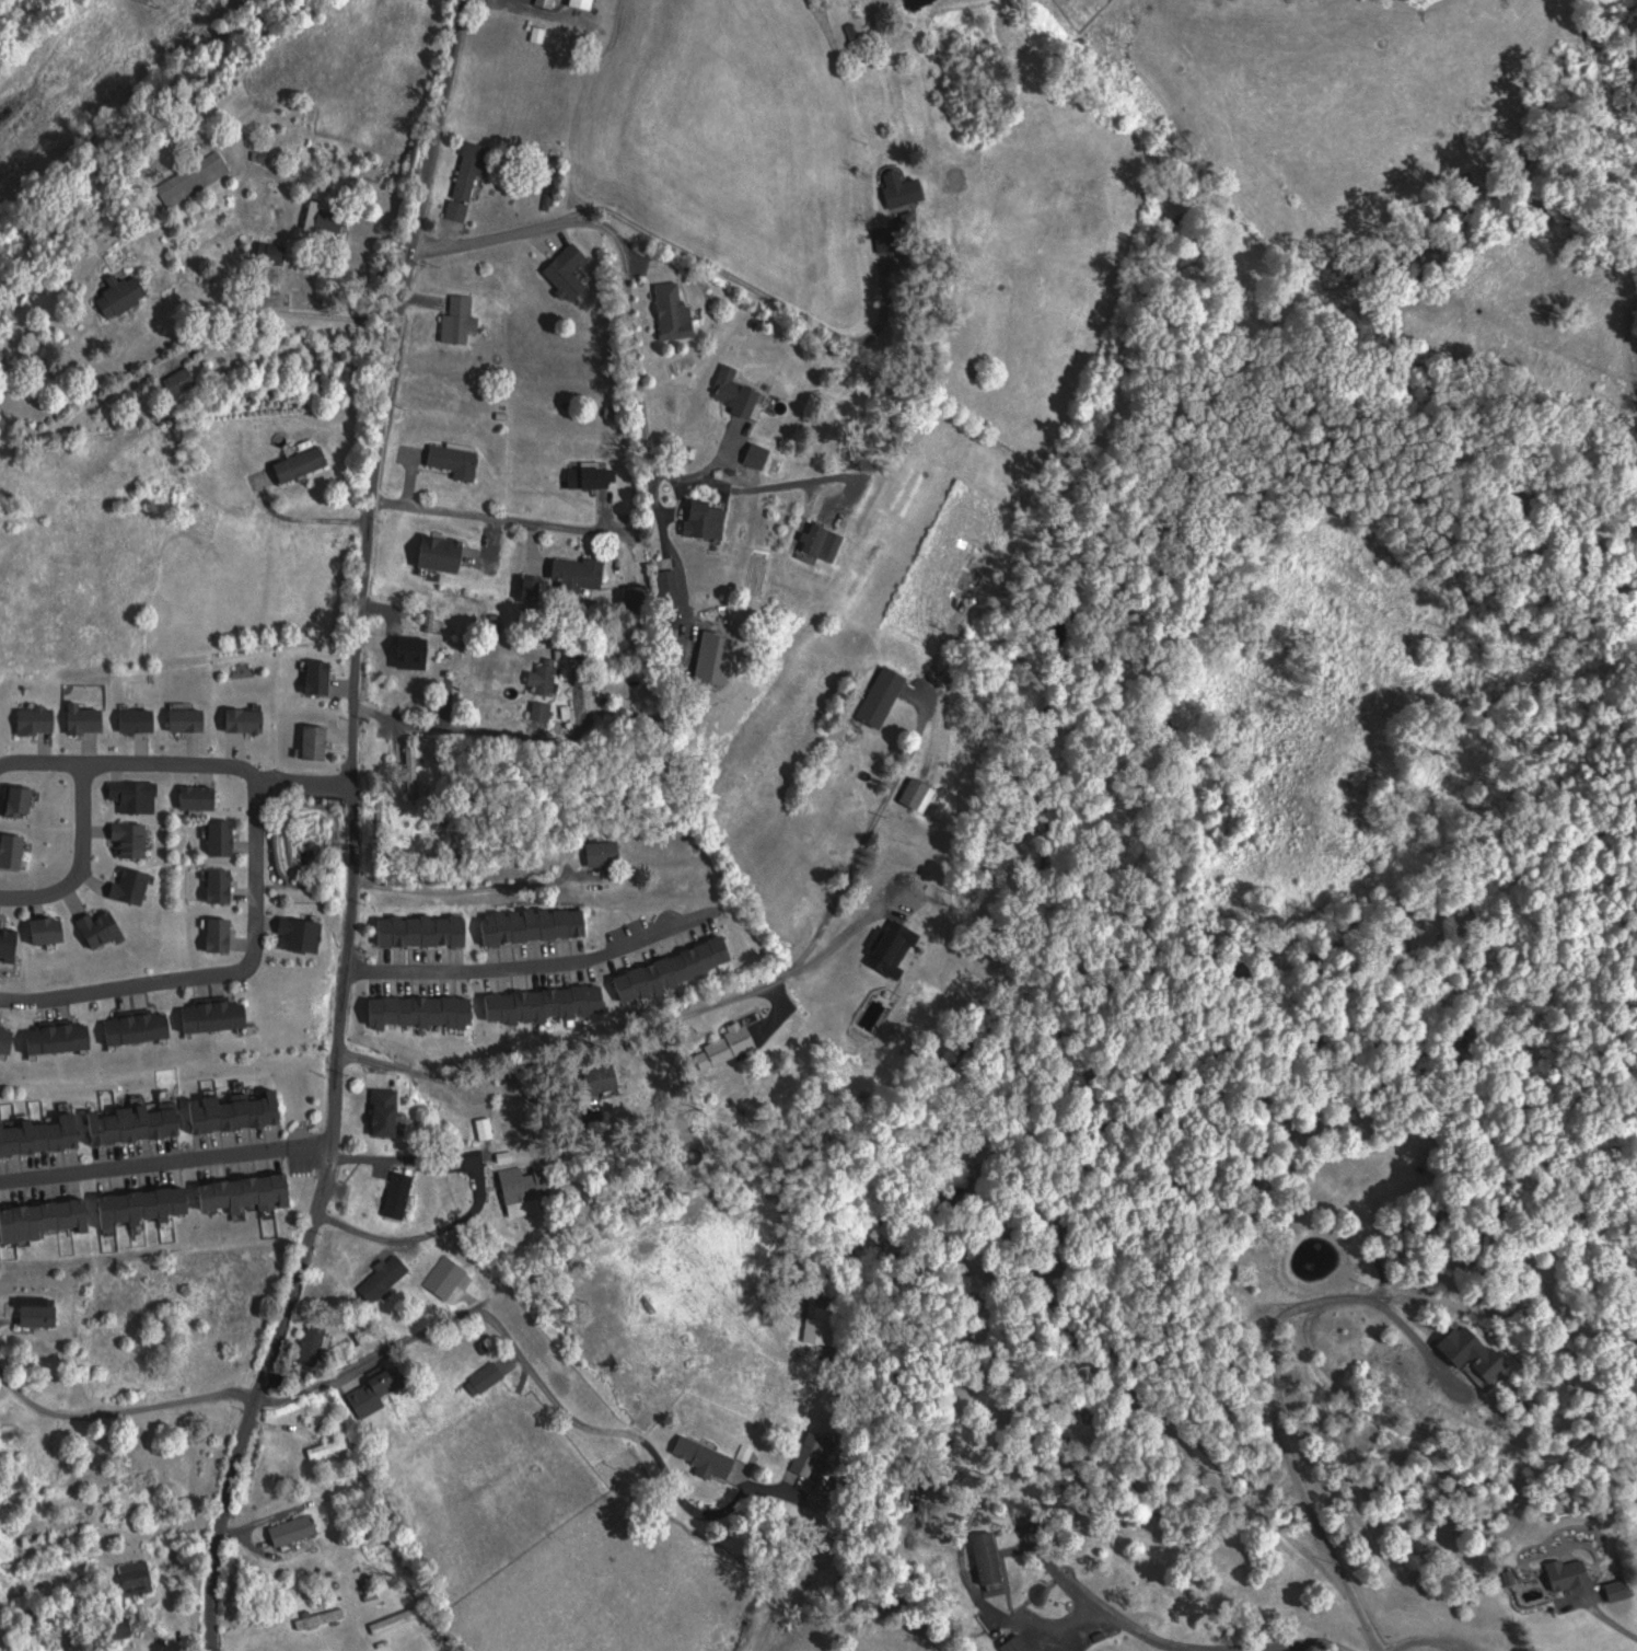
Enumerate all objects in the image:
building: (548, 2)
building: (587, 3)
building: (472, 176)
building: (199, 180)
building: (906, 187)
building: (329, 218)
road: (499, 230)
building: (279, 253)
building: (570, 272)
building: (128, 291)
building: (677, 312)
building: (463, 320)
building: (183, 380)
building: (739, 391)
road: (650, 392)
building: (458, 460)
building: (304, 463)
building: (595, 475)
road: (499, 516)
building: (706, 518)
building: (825, 540)
building: (444, 553)
building: (581, 573)
building: (977, 574)
building: (472, 665)
building: (323, 677)
building: (547, 695)
building: (882, 705)
building: (191, 716)
building: (40, 717)
building: (89, 717)
building: (141, 718)
building: (247, 718)
building: (0, 719)
road: (450, 729)
building: (320, 740)
road: (221, 765)
building: (924, 793)
building: (138, 795)
building: (202, 796)
building: (23, 799)
road: (84, 819)
road: (353, 829)
building: (225, 836)
building: (135, 838)
building: (15, 848)
building: (607, 852)
road: (326, 876)
building: (135, 884)
building: (223, 885)
road: (458, 891)
building: (537, 924)
building: (107, 927)
building: (54, 928)
building: (426, 930)
building: (303, 932)
building: (223, 934)
building: (11, 939)
road: (538, 967)
building: (678, 969)
road: (219, 974)
building: (549, 1004)
building: (426, 1011)
building: (219, 1016)
building: (142, 1028)
building: (9, 1037)
building: (63, 1038)
building: (732, 1046)
building: (239, 1111)
building: (390, 1112)
building: (138, 1122)
building: (487, 1127)
building: (43, 1134)
road: (170, 1157)
building: (526, 1190)
building: (251, 1192)
building: (403, 1194)
building: (149, 1205)
building: (46, 1219)
building: (386, 1279)
road: (469, 1291)
building: (42, 1312)
road: (155, 1312)
building: (820, 1320)
building: (317, 1343)
building: (1499, 1367)
building: (488, 1377)
building: (392, 1386)
road: (1269, 1390)
building: (334, 1445)
building: (817, 1445)
building: (723, 1466)
building: (298, 1529)
building: (990, 1557)
building: (1572, 1573)
building: (139, 1578)
building: (324, 1618)
building: (126, 1628)
building: (1020, 1643)

